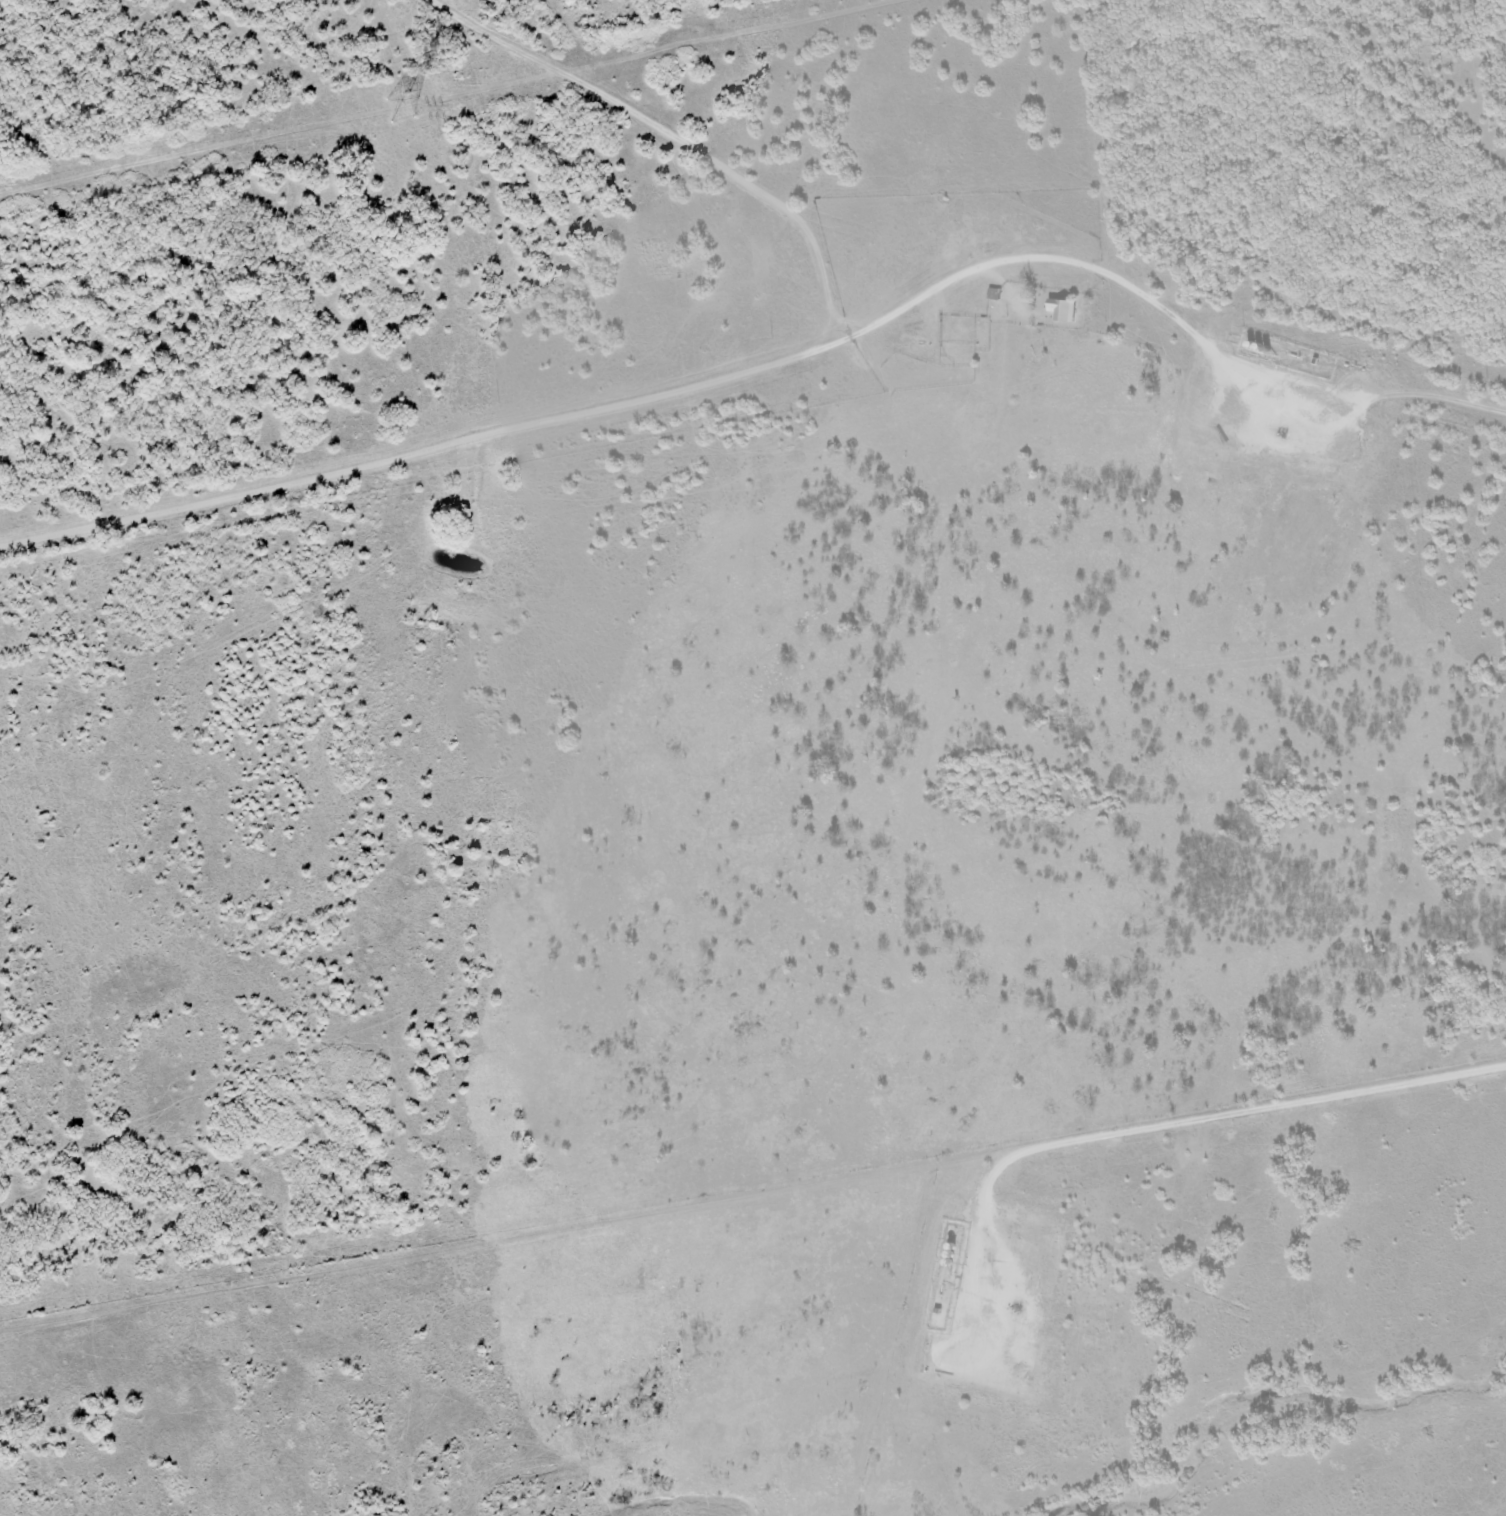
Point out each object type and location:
power tower: (401, 107)
building: (1060, 309)

